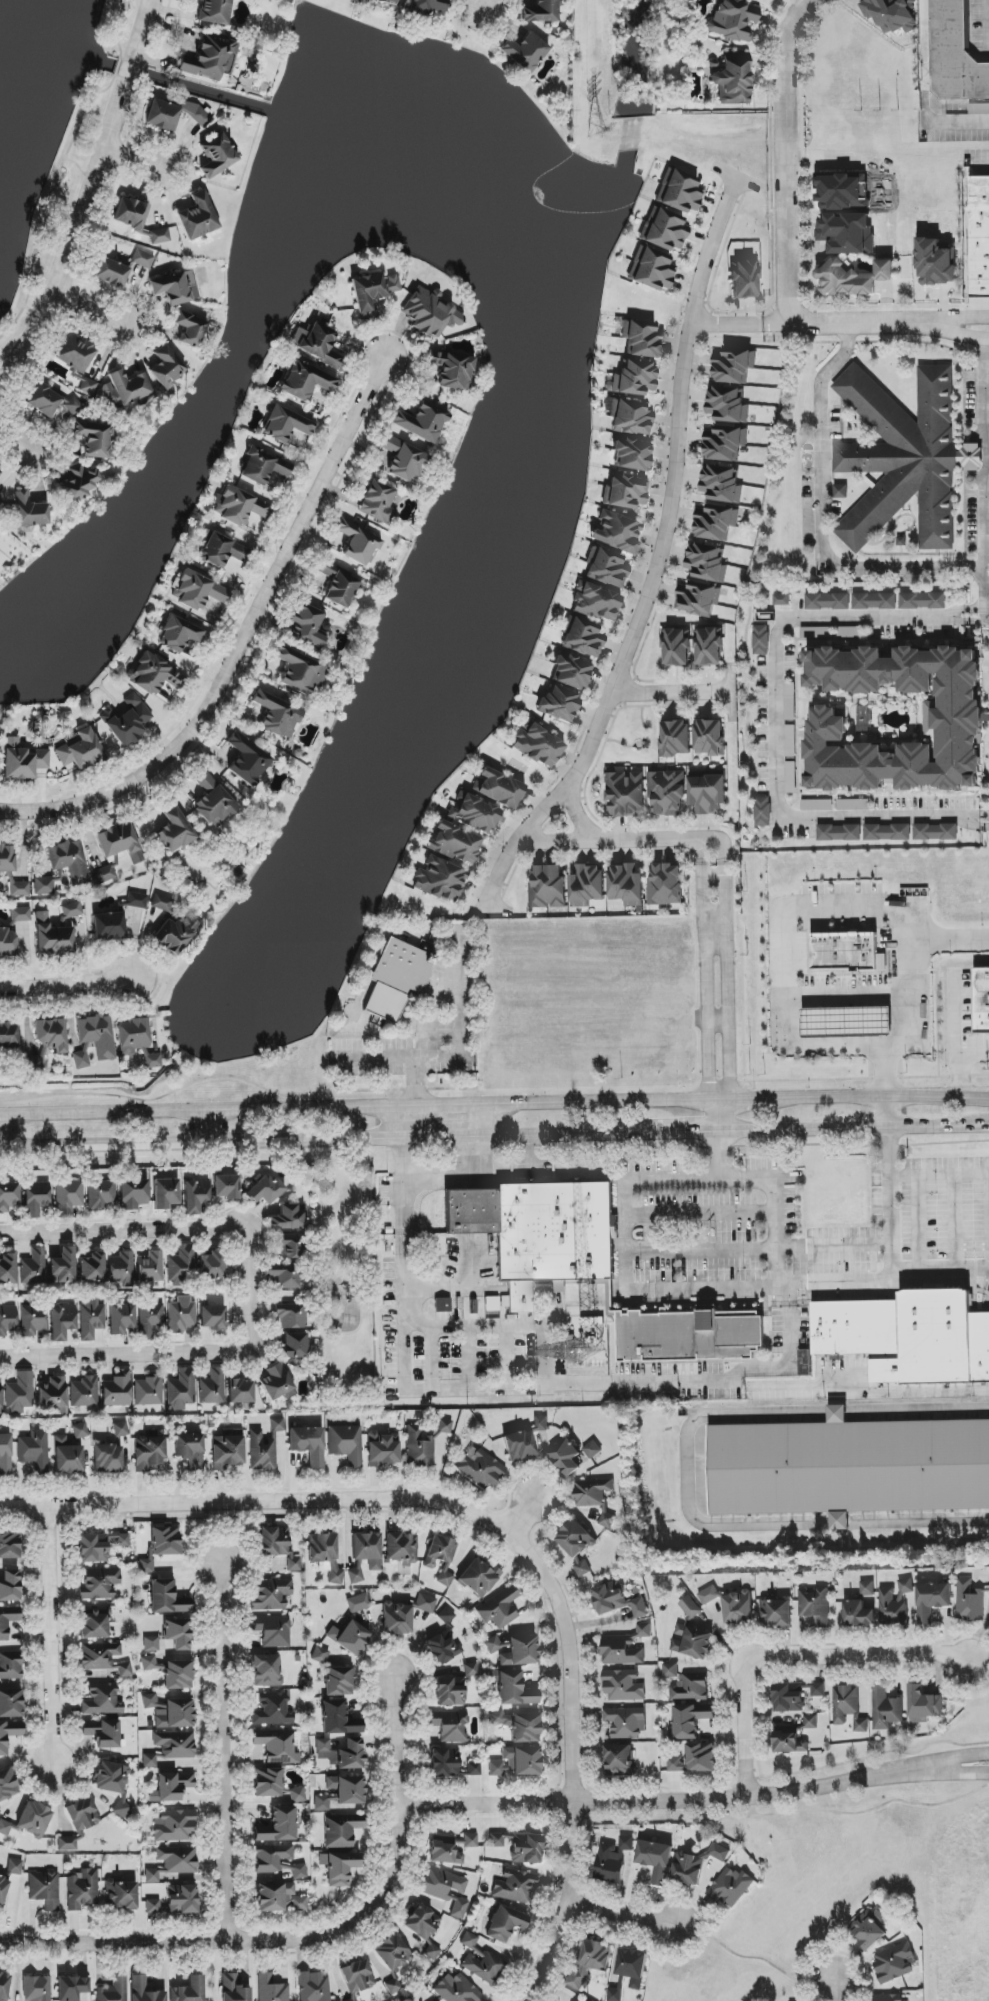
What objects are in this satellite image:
road: (988, 1)
building: (387, 2)
road: (484, 5)
building: (428, 7)
building: (214, 11)
building: (540, 12)
building: (890, 14)
building: (734, 20)
road: (141, 28)
building: (525, 52)
building: (210, 58)
building: (956, 58)
road: (128, 71)
building: (733, 79)
building: (173, 114)
road: (960, 120)
power tower: (595, 134)
building: (216, 155)
road: (789, 159)
road: (131, 161)
road: (733, 175)
building: (679, 191)
building: (842, 191)
building: (130, 213)
building: (197, 217)
building: (664, 230)
building: (847, 233)
building: (159, 236)
building: (979, 236)
road: (78, 240)
building: (142, 259)
building: (935, 262)
building: (652, 270)
building: (111, 273)
building: (853, 277)
building: (188, 279)
building: (744, 279)
building: (173, 289)
building: (372, 292)
road: (90, 306)
building: (428, 313)
road: (839, 325)
building: (190, 329)
building: (642, 339)
building: (319, 344)
building: (75, 353)
building: (733, 366)
building: (166, 367)
building: (453, 370)
building: (635, 378)
building: (305, 381)
building: (88, 387)
building: (125, 390)
building: (43, 400)
building: (727, 405)
building: (629, 417)
building: (422, 422)
building: (285, 424)
building: (94, 438)
road: (17, 441)
building: (724, 443)
building: (632, 455)
building: (904, 458)
building: (404, 459)
building: (263, 467)
road: (986, 472)
building: (79, 484)
building: (721, 484)
building: (840, 491)
building: (625, 492)
building: (0, 501)
building: (378, 503)
building: (239, 506)
building: (30, 511)
road: (821, 520)
building: (716, 522)
building: (616, 532)
building: (358, 543)
building: (224, 553)
road: (656, 562)
building: (707, 562)
building: (340, 585)
building: (198, 591)
building: (698, 598)
building: (782, 600)
building: (827, 601)
building: (874, 601)
building: (923, 601)
building: (596, 602)
road: (976, 614)
building: (307, 625)
building: (816, 632)
building: (849, 632)
building: (180, 634)
building: (583, 638)
building: (761, 640)
road: (243, 644)
building: (676, 647)
building: (708, 647)
building: (299, 671)
building: (572, 672)
building: (153, 674)
road: (671, 692)
road: (729, 693)
building: (790, 701)
building: (559, 703)
building: (277, 715)
building: (126, 721)
road: (775, 725)
building: (957, 727)
building: (709, 737)
building: (674, 738)
building: (790, 740)
building: (539, 746)
building: (79, 751)
building: (23, 760)
building: (247, 760)
building: (791, 777)
building: (500, 789)
building: (666, 792)
building: (626, 794)
building: (707, 794)
building: (213, 801)
building: (817, 805)
building: (853, 805)
building: (763, 811)
building: (474, 814)
road: (576, 817)
road: (984, 818)
building: (174, 831)
building: (887, 832)
building: (936, 832)
building: (839, 833)
building: (119, 842)
road: (614, 842)
building: (455, 843)
building: (6, 858)
building: (69, 861)
building: (104, 874)
road: (711, 876)
building: (440, 879)
building: (626, 884)
building: (665, 884)
building: (587, 885)
building: (43, 886)
building: (547, 887)
building: (19, 889)
building: (136, 900)
building: (163, 903)
building: (71, 910)
building: (20, 914)
road: (480, 914)
building: (62, 923)
building: (109, 926)
road: (712, 927)
building: (176, 934)
road: (786, 935)
building: (52, 937)
building: (8, 943)
building: (847, 952)
road: (724, 968)
road: (701, 969)
building: (397, 979)
road: (65, 984)
road: (849, 995)
building: (981, 1001)
road: (908, 1007)
road: (714, 1019)
building: (845, 1023)
building: (8, 1035)
building: (51, 1035)
building: (97, 1036)
building: (132, 1036)
road: (455, 1054)
road: (956, 1055)
road: (377, 1057)
building: (80, 1060)
building: (151, 1060)
building: (33, 1063)
road: (872, 1096)
road: (737, 1099)
road: (591, 1103)
road: (440, 1107)
road: (887, 1112)
road: (208, 1113)
road: (717, 1115)
road: (498, 1121)
road: (416, 1123)
road: (939, 1127)
road: (207, 1128)
road: (860, 1128)
road: (775, 1129)
road: (687, 1131)
road: (19, 1133)
road: (328, 1140)
road: (717, 1153)
road: (395, 1154)
road: (939, 1175)
road: (450, 1176)
building: (264, 1190)
building: (165, 1193)
building: (132, 1194)
building: (100, 1195)
building: (195, 1195)
building: (9, 1197)
building: (35, 1198)
building: (68, 1198)
road: (700, 1215)
building: (287, 1218)
road: (919, 1223)
road: (956, 1223)
road: (100, 1229)
building: (540, 1229)
road: (834, 1246)
road: (891, 1246)
building: (285, 1247)
road: (701, 1251)
building: (181, 1264)
building: (211, 1265)
building: (62, 1266)
building: (33, 1267)
building: (150, 1267)
building: (91, 1268)
building: (121, 1268)
building: (7, 1269)
road: (400, 1275)
building: (284, 1277)
road: (841, 1282)
road: (456, 1286)
road: (684, 1290)
road: (243, 1291)
building: (491, 1304)
building: (442, 1305)
building: (180, 1315)
building: (291, 1315)
building: (212, 1318)
building: (91, 1319)
building: (121, 1319)
building: (149, 1319)
building: (8, 1320)
building: (33, 1320)
building: (61, 1321)
road: (503, 1327)
building: (690, 1337)
building: (909, 1338)
building: (294, 1345)
road: (100, 1351)
building: (805, 1363)
building: (276, 1383)
road: (635, 1385)
building: (212, 1387)
building: (117, 1390)
building: (181, 1390)
road: (908, 1390)
building: (148, 1391)
building: (240, 1391)
building: (84, 1392)
building: (20, 1393)
building: (52, 1395)
building: (0, 1398)
road: (917, 1412)
road: (837, 1413)
building: (276, 1425)
building: (120, 1429)
building: (80, 1431)
building: (308, 1444)
building: (345, 1444)
building: (227, 1449)
building: (382, 1449)
building: (190, 1450)
building: (592, 1450)
building: (34, 1451)
building: (149, 1451)
building: (261, 1451)
building: (5, 1454)
building: (67, 1457)
building: (566, 1457)
building: (107, 1458)
building: (479, 1468)
building: (848, 1468)
road: (688, 1472)
building: (592, 1492)
road: (523, 1515)
road: (918, 1521)
road: (839, 1523)
road: (504, 1526)
building: (164, 1541)
building: (273, 1542)
building: (9, 1544)
building: (577, 1545)
building: (100, 1546)
building: (401, 1548)
building: (367, 1549)
building: (442, 1549)
building: (325, 1554)
building: (294, 1563)
building: (145, 1566)
building: (355, 1573)
building: (475, 1577)
building: (444, 1579)
building: (99, 1583)
building: (10, 1586)
building: (867, 1588)
building: (271, 1594)
building: (166, 1598)
building: (618, 1600)
building: (933, 1602)
building: (970, 1602)
building: (357, 1603)
building: (425, 1603)
building: (731, 1604)
building: (895, 1604)
building: (816, 1605)
building: (499, 1609)
building: (774, 1611)
building: (858, 1612)
building: (446, 1616)
building: (396, 1619)
building: (8, 1620)
building: (95, 1622)
building: (272, 1631)
building: (177, 1633)
building: (693, 1633)
road: (53, 1635)
building: (349, 1637)
building: (150, 1644)
building: (492, 1644)
building: (626, 1647)
building: (442, 1648)
building: (520, 1652)
building: (319, 1655)
building: (98, 1656)
road: (791, 1658)
building: (148, 1663)
building: (10, 1665)
building: (123, 1669)
building: (670, 1670)
building: (266, 1671)
building: (178, 1675)
building: (339, 1681)
building: (621, 1683)
building: (454, 1687)
building: (691, 1687)
building: (514, 1690)
building: (793, 1694)
building: (101, 1699)
building: (923, 1700)
building: (149, 1701)
building: (10, 1702)
building: (848, 1707)
building: (886, 1707)
building: (272, 1710)
building: (175, 1714)
building: (496, 1718)
building: (338, 1719)
building: (689, 1720)
building: (625, 1721)
building: (449, 1726)
building: (524, 1728)
building: (102, 1732)
building: (9, 1734)
building: (792, 1736)
building: (175, 1744)
road: (223, 1746)
building: (277, 1746)
building: (342, 1753)
building: (692, 1758)
road: (960, 1760)
building: (149, 1761)
building: (620, 1761)
building: (516, 1762)
building: (444, 1763)
building: (471, 1769)
road: (959, 1775)
building: (110, 1778)
building: (273, 1786)
building: (171, 1787)
building: (347, 1789)
road: (666, 1799)
building: (321, 1803)
building: (82, 1816)
building: (34, 1819)
building: (175, 1826)
building: (278, 1826)
building: (5, 1828)
building: (341, 1830)
building: (626, 1843)
building: (66, 1844)
building: (519, 1846)
building: (450, 1848)
building: (719, 1852)
building: (277, 1860)
building: (655, 1860)
building: (172, 1862)
building: (609, 1864)
building: (14, 1867)
building: (339, 1867)
building: (688, 1868)
building: (515, 1886)
building: (730, 1887)
building: (3, 1888)
building: (44, 1889)
building: (82, 1890)
building: (446, 1890)
building: (121, 1895)
building: (279, 1898)
building: (175, 1901)
road: (632, 1908)
building: (421, 1922)
building: (505, 1924)
road: (304, 1929)
building: (869, 1929)
building: (468, 1940)
building: (596, 1954)
building: (392, 1959)
building: (894, 1963)
building: (483, 1965)
building: (632, 1966)
building: (577, 1977)
building: (356, 1978)
road: (836, 1981)
building: (72, 1987)
building: (313, 1987)
building: (37, 1988)
building: (233, 1989)
building: (271, 1989)
building: (456, 1989)
building: (113, 1990)
building: (144, 1990)
building: (190, 1990)
building: (887, 1997)

